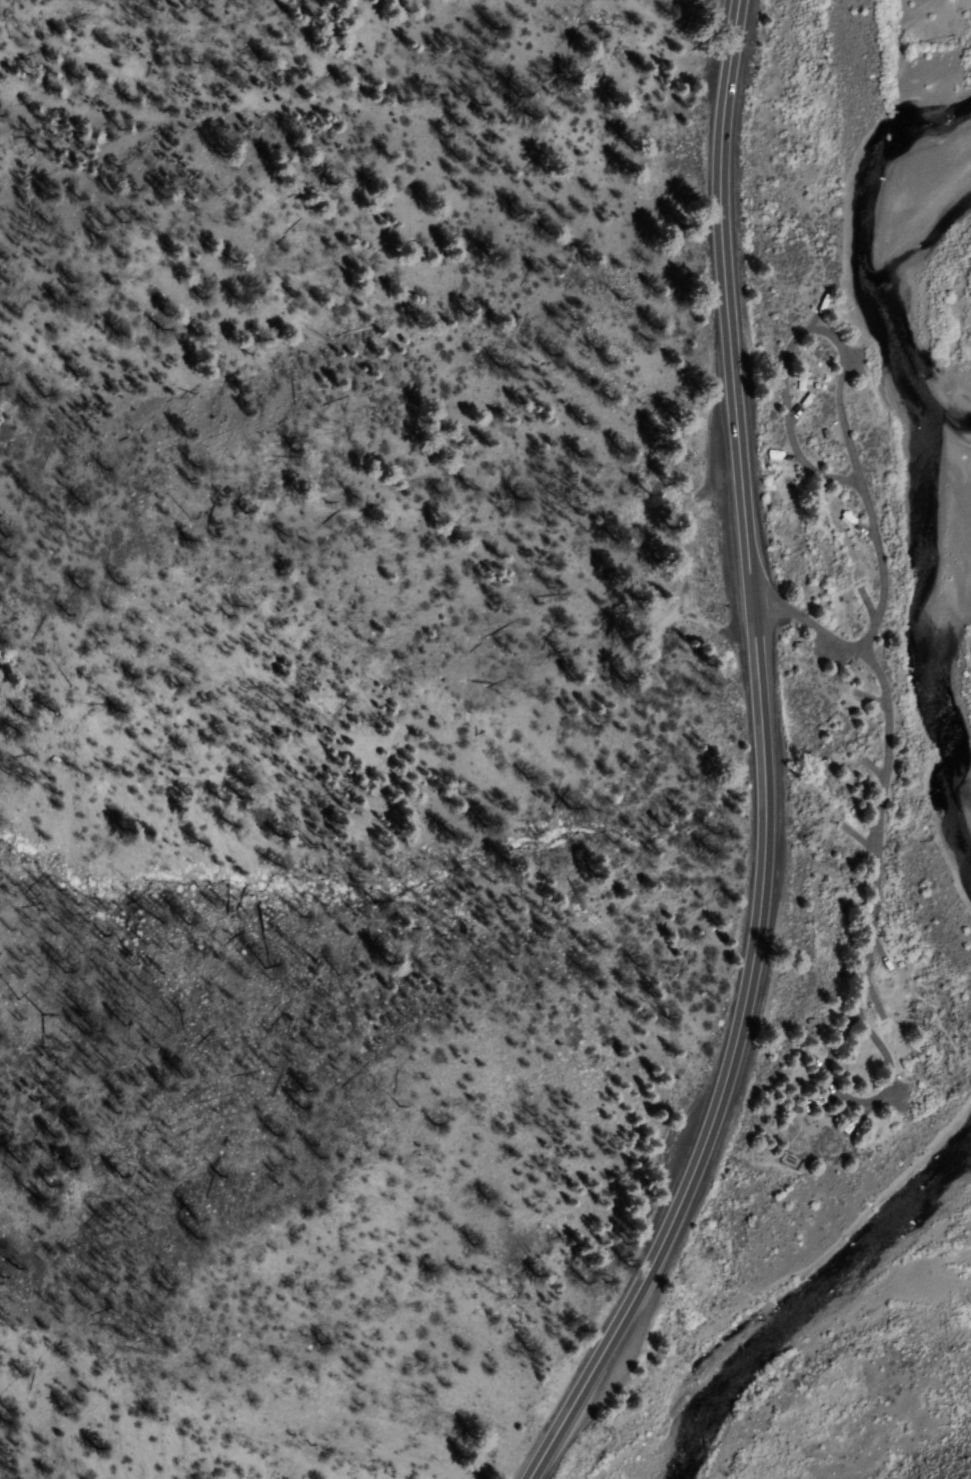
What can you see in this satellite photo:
road: (794, 341)
building: (803, 400)
building: (775, 455)
river: (941, 464)
road: (808, 624)
road: (761, 763)
road: (875, 862)
river: (799, 1301)

